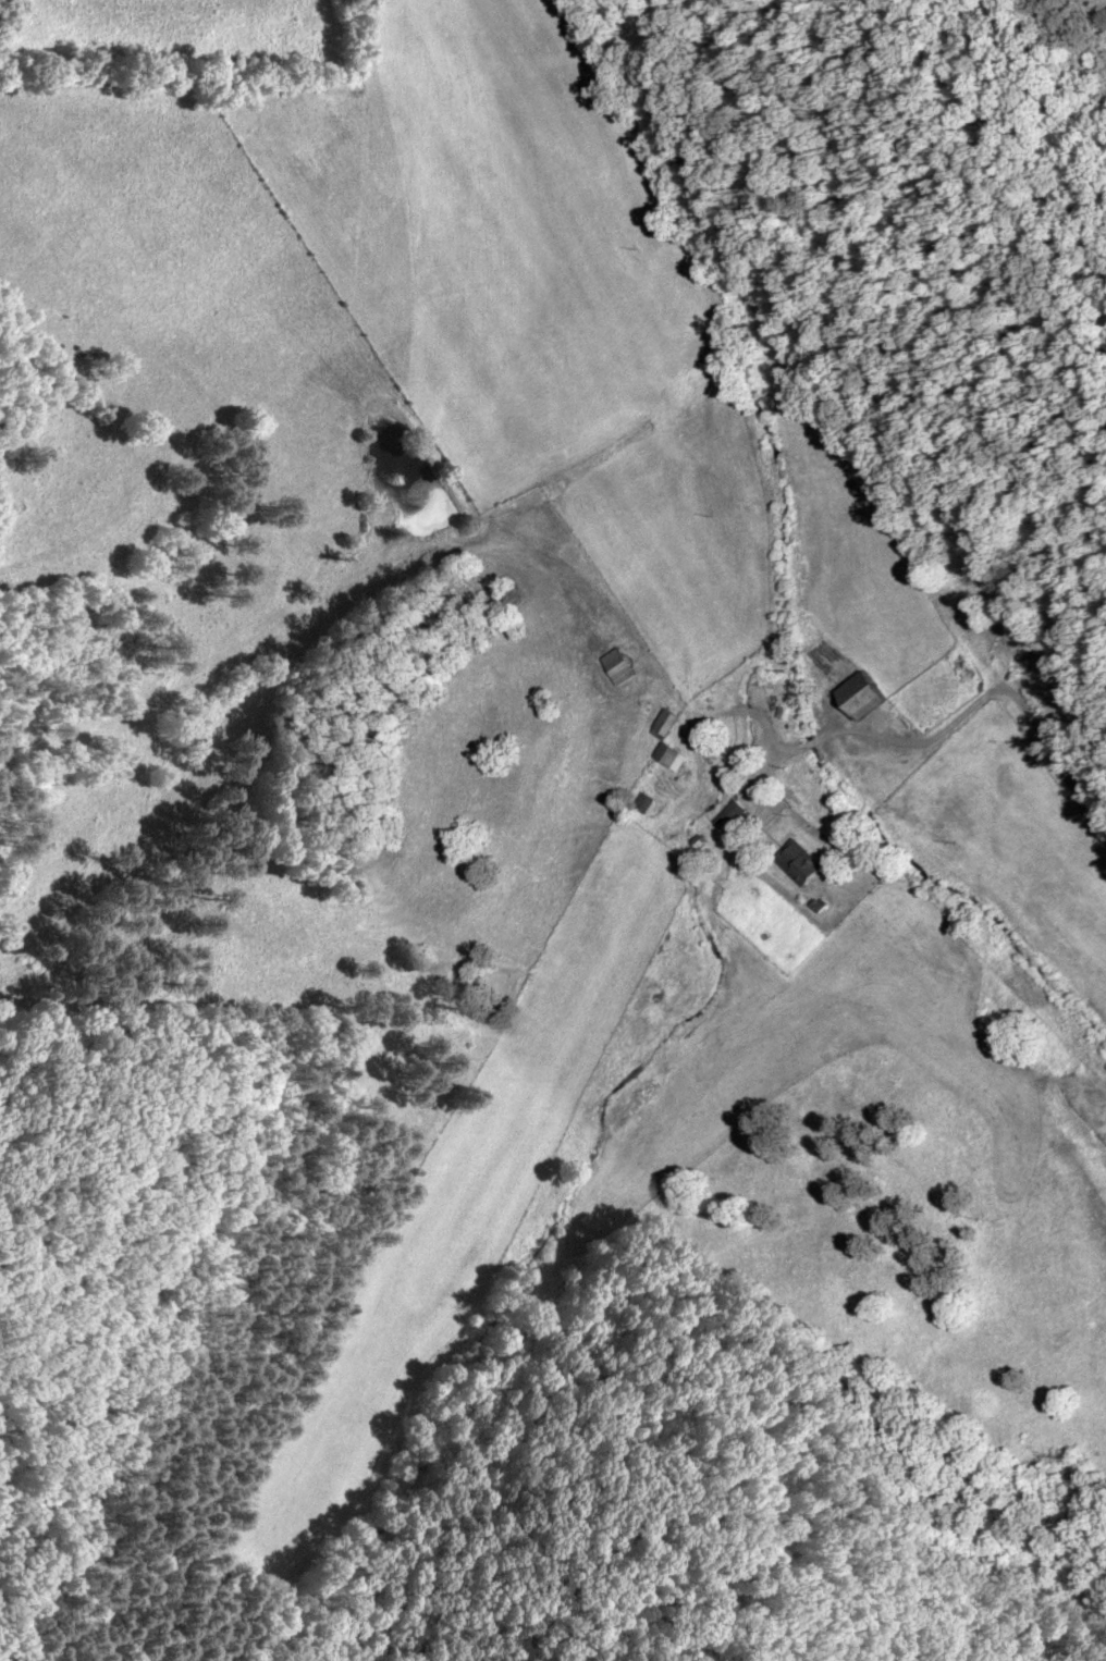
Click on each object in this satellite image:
building: (620, 666)
building: (868, 694)
building: (668, 737)
building: (735, 817)
building: (802, 864)

